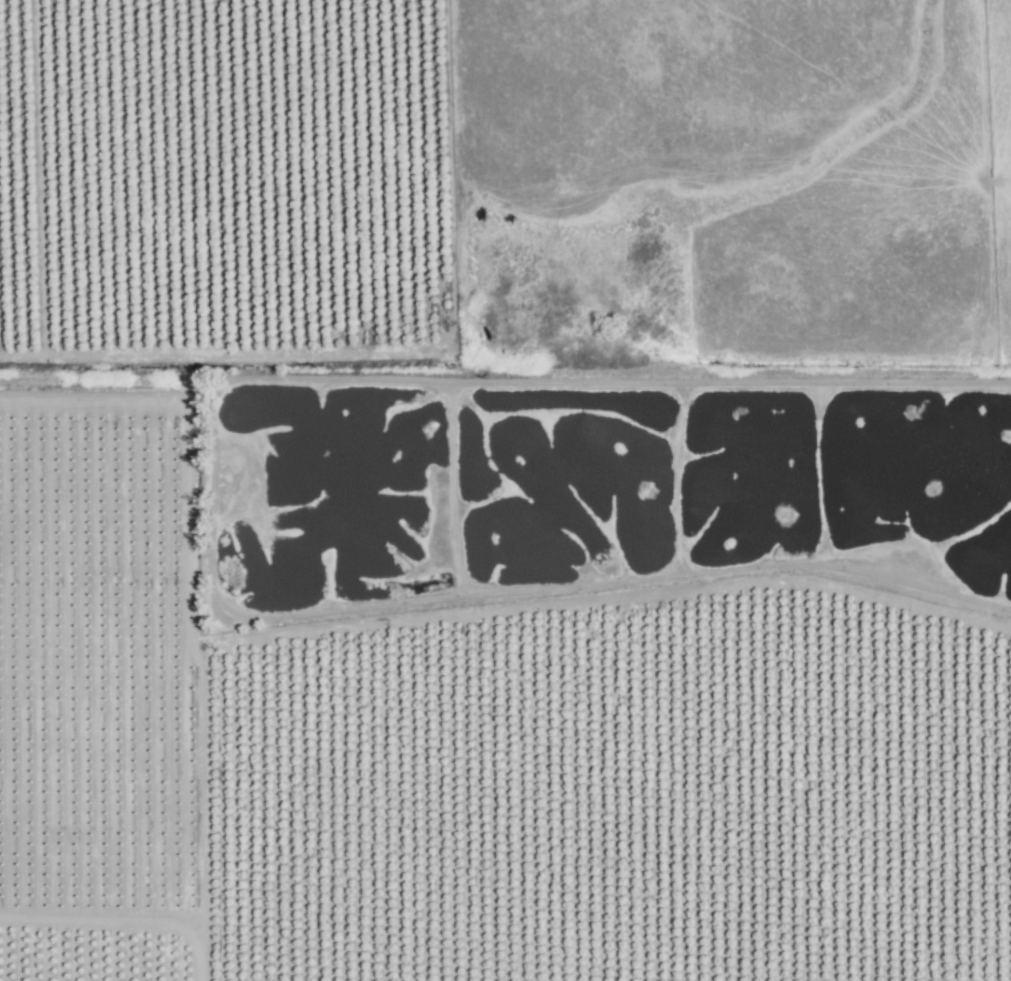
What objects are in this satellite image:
crop: (93, 481)

